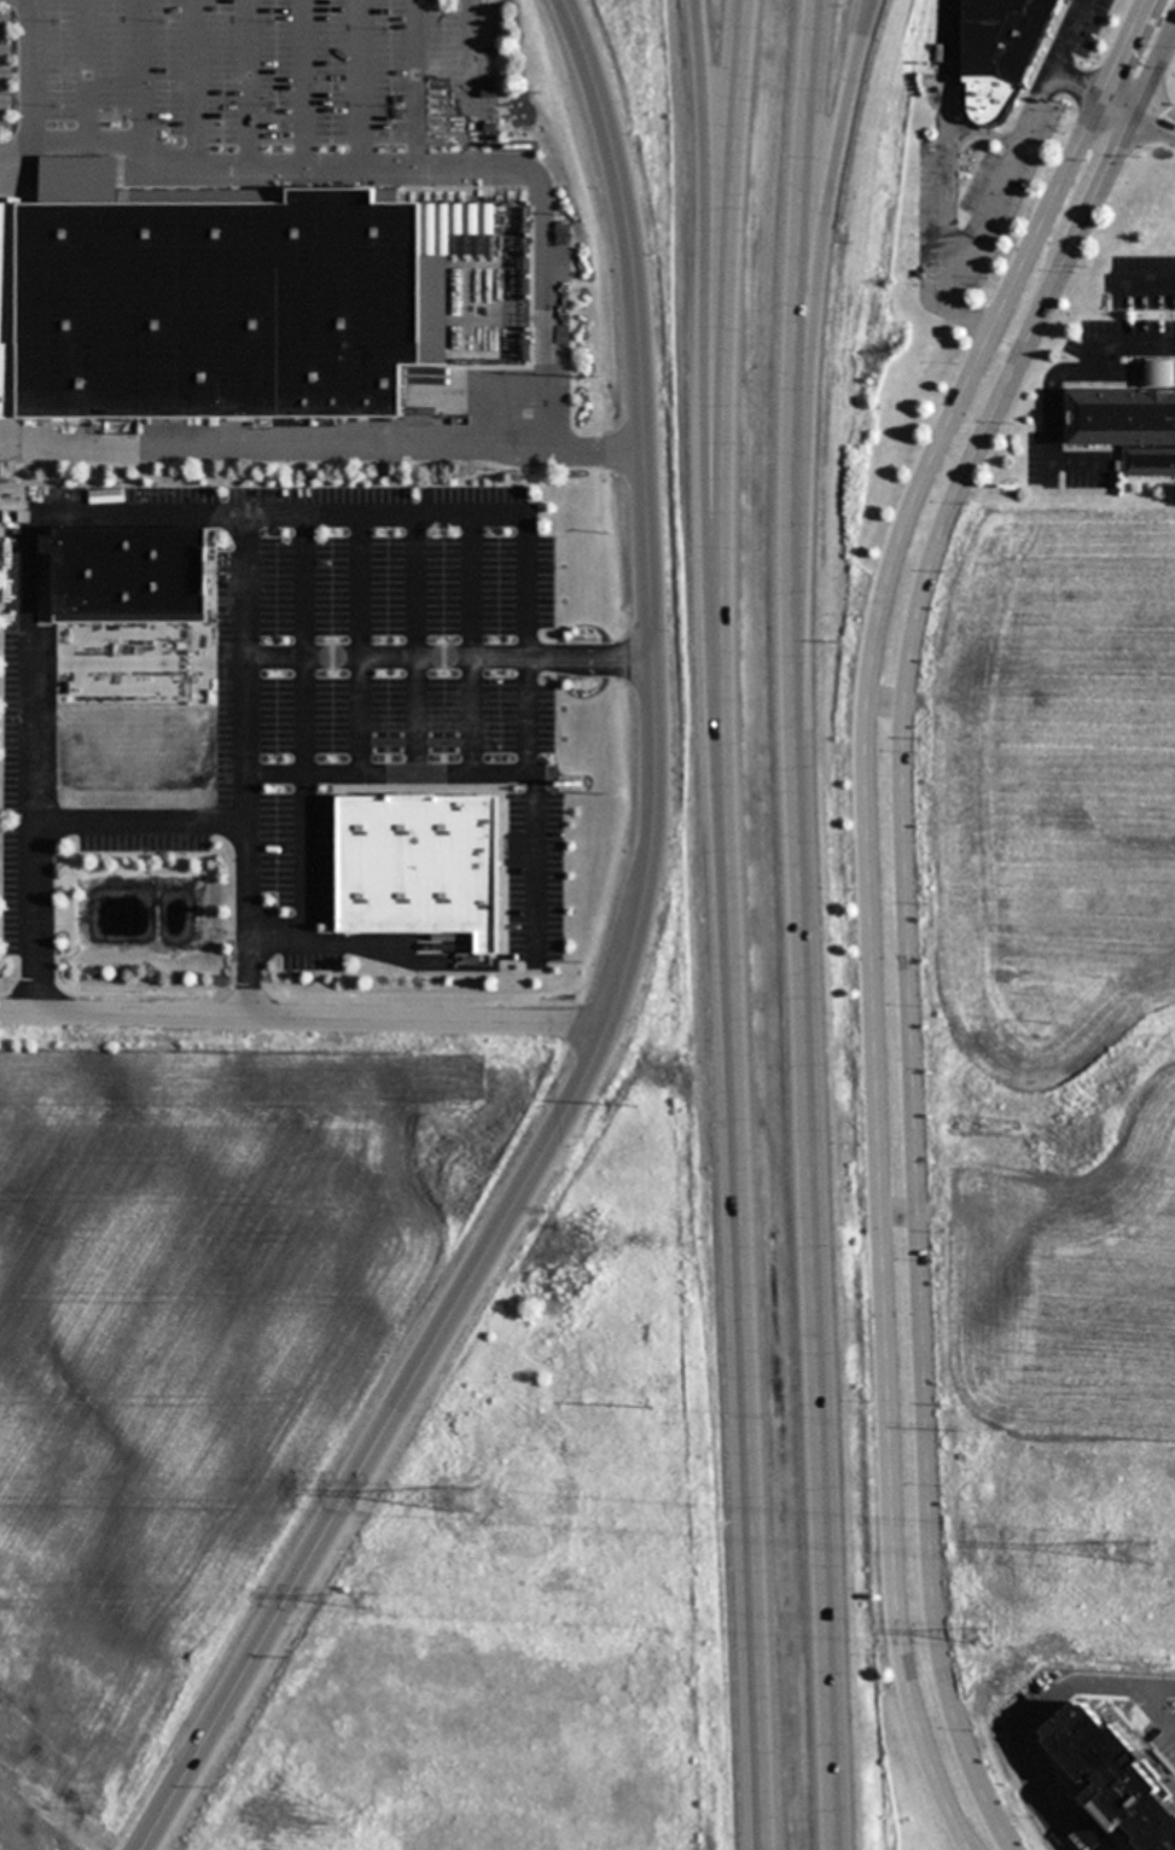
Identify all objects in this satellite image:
building: (1010, 46)
road: (1077, 80)
road: (29, 85)
traffic signals: (1099, 93)
traffic signals: (1133, 110)
road: (1136, 111)
road: (1005, 175)
road: (825, 238)
road: (798, 240)
road: (1142, 283)
building: (204, 297)
road: (706, 326)
road: (732, 326)
road: (1053, 377)
building: (1132, 421)
road: (321, 437)
street lamp: (58, 483)
street lamp: (157, 484)
street lamp: (275, 531)
street lamp: (498, 531)
street lamp: (386, 533)
street lamp: (1, 540)
building: (130, 569)
street lamp: (274, 639)
street lamp: (386, 639)
street lamp: (499, 640)
street lamp: (1, 655)
street lamp: (576, 679)
parking lot: (310, 703)
street lamp: (499, 756)
street lamp: (453, 757)
street lamp: (1, 758)
street lamp: (277, 758)
street lamp: (378, 758)
street lamp: (564, 853)
street lamp: (187, 854)
street lamp: (103, 855)
street lamp: (277, 861)
street lamp: (2, 862)
building: (420, 865)
road: (869, 903)
road: (907, 912)
street lamp: (2, 936)
street lamp: (565, 937)
street lamp: (382, 978)
street lamp: (264, 979)
road: (623, 981)
road: (310, 1018)
crop: (1051, 1074)
road: (820, 1165)
road: (743, 1251)
power tower: (469, 1500)
power tower: (1140, 1554)
power tower: (371, 1600)
power tower: (976, 1634)
building: (1105, 1778)
crop: (924, 1837)

